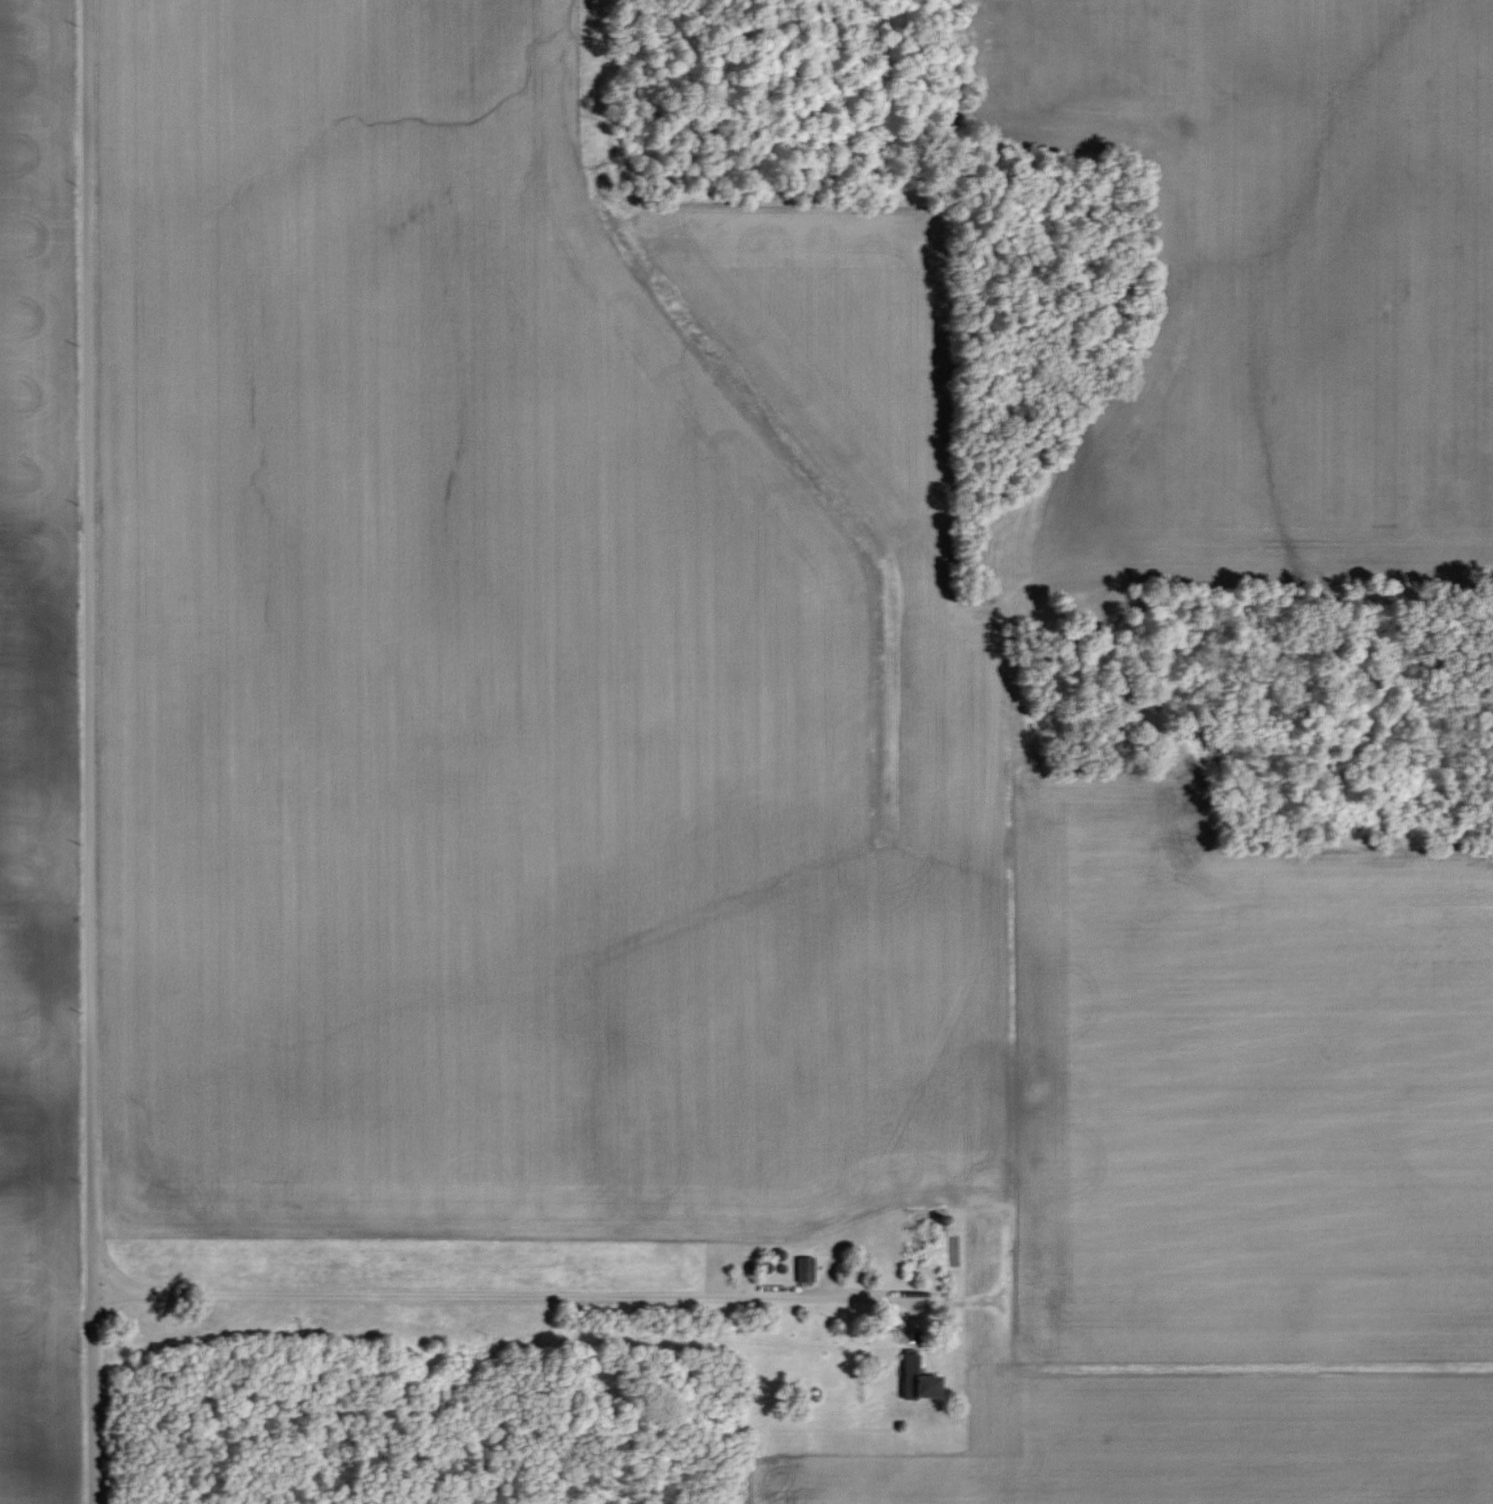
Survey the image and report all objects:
road: (42, 525)
road: (85, 752)
building: (803, 1267)
road: (516, 1295)
building: (917, 1378)

